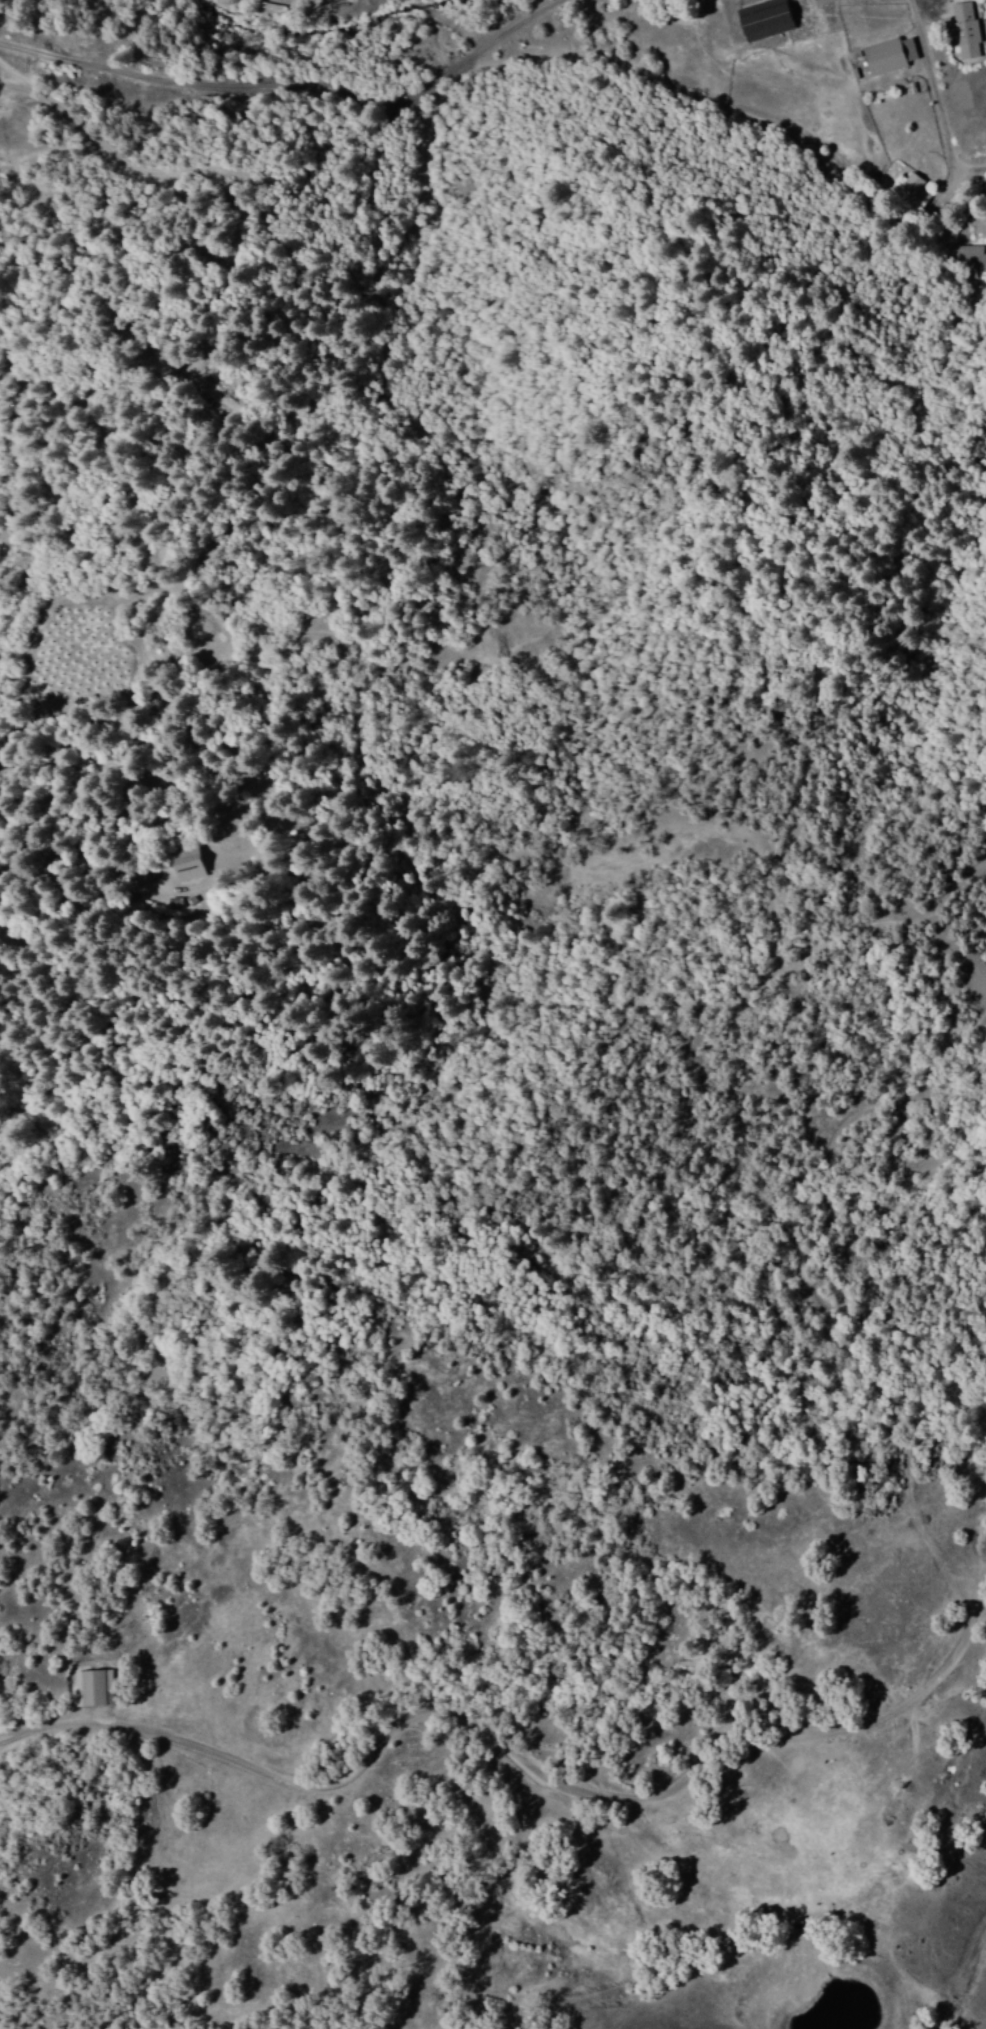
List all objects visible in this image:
building: (766, 19)
road: (455, 24)
building: (966, 30)
building: (890, 55)
road: (298, 82)
building: (912, 190)
building: (971, 258)
building: (188, 866)
building: (93, 1688)
road: (524, 1739)

